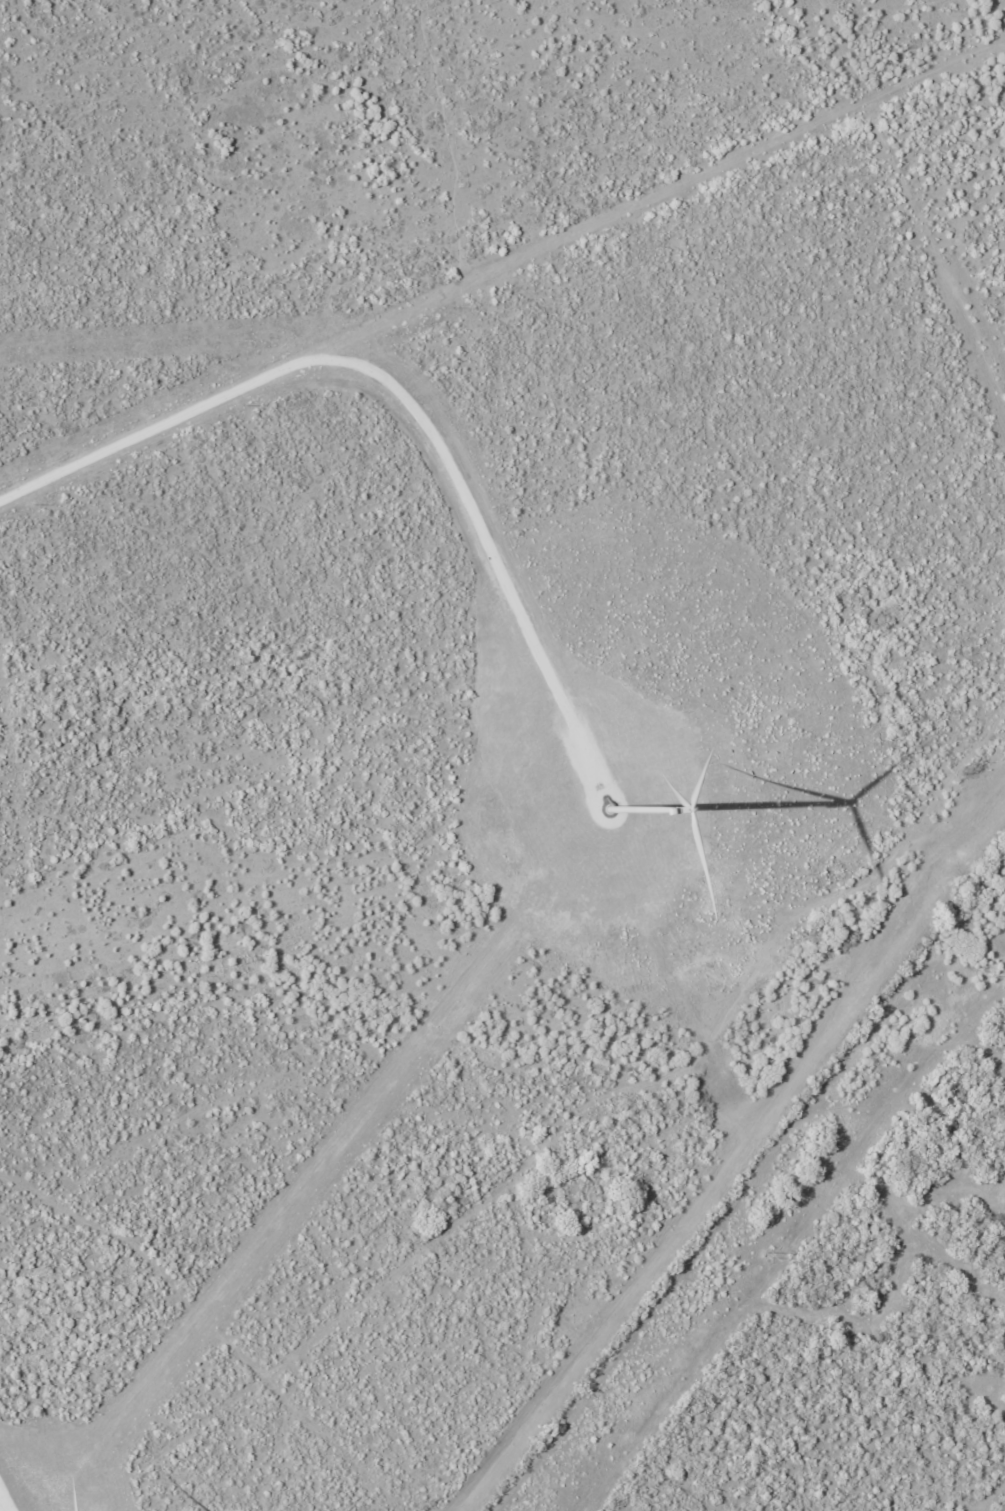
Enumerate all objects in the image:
wind turbine: (605, 817)
power tower: (986, 973)
power tower: (769, 1254)

